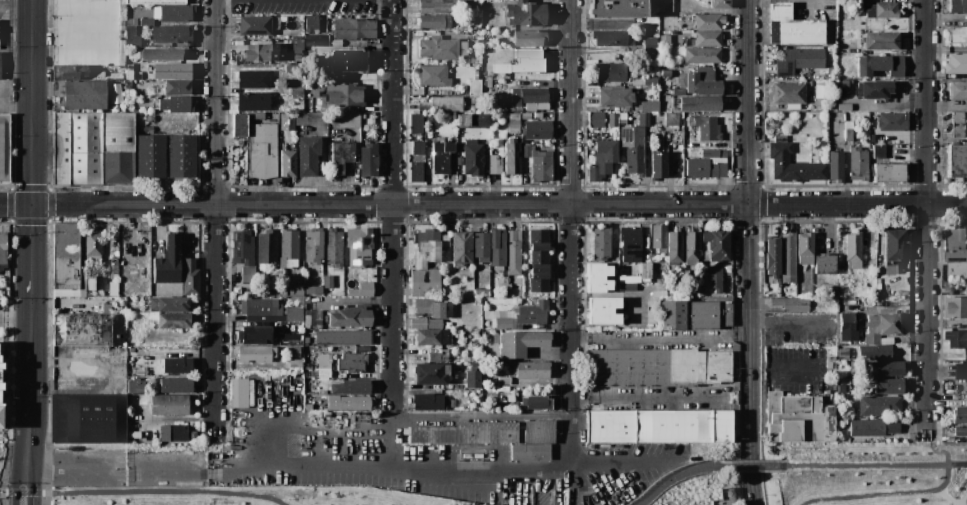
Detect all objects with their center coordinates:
building: (155, 2)
road: (17, 3)
building: (720, 4)
building: (666, 5)
building: (442, 6)
building: (957, 6)
building: (616, 8)
building: (883, 10)
building: (156, 13)
building: (175, 13)
building: (525, 13)
building: (121, 17)
building: (131, 21)
building: (708, 21)
building: (146, 22)
building: (434, 22)
building: (312, 24)
building: (255, 25)
building: (792, 26)
building: (354, 29)
building: (130, 30)
building: (172, 33)
building: (458, 33)
building: (957, 34)
building: (283, 35)
building: (464, 35)
building: (471, 35)
building: (478, 35)
building: (610, 37)
building: (707, 37)
building: (528, 38)
building: (323, 40)
building: (509, 40)
building: (665, 40)
building: (880, 40)
building: (132, 41)
building: (650, 44)
building: (294, 45)
building: (438, 48)
building: (463, 48)
building: (121, 52)
building: (262, 52)
building: (161, 54)
building: (702, 55)
building: (297, 58)
building: (349, 60)
building: (799, 60)
building: (527, 61)
building: (956, 63)
building: (880, 65)
building: (500, 68)
building: (170, 70)
building: (831, 70)
building: (129, 71)
building: (56, 72)
building: (73, 72)
building: (610, 72)
building: (97, 73)
building: (665, 73)
building: (116, 75)
building: (433, 75)
building: (477, 75)
building: (253, 79)
building: (702, 82)
building: (281, 83)
building: (843, 85)
building: (177, 87)
building: (479, 87)
building: (160, 89)
building: (873, 89)
building: (957, 90)
building: (505, 92)
building: (789, 92)
building: (83, 95)
building: (528, 95)
building: (344, 96)
building: (614, 97)
building: (253, 101)
building: (446, 103)
building: (700, 103)
building: (175, 104)
building: (424, 106)
building: (649, 106)
building: (531, 107)
building: (638, 107)
building: (519, 110)
building: (526, 115)
building: (255, 116)
building: (623, 116)
building: (514, 117)
building: (147, 118)
building: (168, 118)
building: (311, 118)
building: (431, 118)
building: (671, 118)
building: (958, 118)
building: (346, 119)
building: (596, 119)
building: (644, 119)
building: (472, 120)
building: (613, 120)
building: (287, 121)
building: (892, 121)
building: (416, 123)
building: (514, 124)
building: (239, 125)
building: (707, 128)
building: (146, 129)
building: (848, 130)
building: (514, 131)
building: (536, 131)
building: (958, 131)
road: (34, 134)
building: (443, 139)
building: (117, 147)
building: (418, 147)
building: (4, 148)
building: (60, 148)
building: (84, 148)
building: (632, 148)
building: (262, 150)
building: (526, 150)
building: (879, 151)
building: (710, 153)
building: (722, 153)
building: (150, 155)
building: (307, 155)
building: (181, 156)
building: (340, 156)
building: (442, 157)
building: (472, 157)
building: (512, 158)
building: (368, 160)
building: (602, 160)
building: (957, 162)
building: (287, 164)
building: (495, 164)
building: (792, 164)
building: (835, 164)
building: (858, 164)
building: (540, 165)
building: (657, 165)
building: (706, 167)
building: (416, 172)
building: (888, 173)
road: (392, 205)
road: (483, 205)
road: (570, 205)
road: (926, 216)
road: (216, 220)
road: (747, 221)
building: (429, 235)
building: (658, 236)
building: (601, 243)
building: (92, 244)
building: (630, 244)
building: (717, 244)
building: (313, 245)
building: (893, 245)
building: (266, 246)
building: (288, 246)
building: (358, 246)
building: (481, 246)
building: (957, 246)
building: (243, 247)
building: (334, 247)
building: (461, 247)
building: (674, 247)
building: (691, 247)
building: (497, 248)
building: (804, 248)
building: (2, 250)
building: (853, 251)
building: (513, 252)
building: (426, 254)
building: (195, 256)
building: (772, 257)
building: (788, 258)
building: (872, 260)
building: (168, 261)
building: (538, 261)
building: (67, 263)
building: (824, 264)
building: (957, 269)
building: (114, 270)
building: (891, 270)
building: (646, 272)
building: (248, 274)
building: (598, 277)
building: (629, 279)
building: (714, 279)
building: (878, 280)
building: (328, 281)
building: (190, 282)
building: (424, 282)
building: (966, 285)
building: (627, 287)
building: (879, 287)
building: (113, 288)
building: (296, 290)
building: (313, 290)
building: (361, 290)
building: (702, 291)
building: (841, 291)
building: (274, 292)
building: (282, 292)
building: (481, 292)
building: (880, 293)
building: (306, 299)
building: (477, 301)
building: (791, 303)
building: (168, 304)
building: (260, 307)
building: (431, 308)
building: (956, 308)
building: (603, 311)
building: (532, 313)
building: (294, 314)
building: (500, 314)
building: (696, 314)
building: (350, 317)
building: (313, 319)
building: (174, 320)
road: (790, 322)
building: (425, 323)
building: (505, 323)
building: (848, 324)
building: (881, 327)
building: (82, 329)
building: (256, 329)
road: (659, 335)
building: (445, 336)
building: (343, 337)
building: (427, 337)
building: (256, 338)
building: (291, 338)
building: (957, 339)
road: (33, 341)
building: (305, 342)
building: (519, 342)
building: (297, 343)
building: (293, 352)
building: (444, 352)
building: (876, 352)
building: (256, 353)
building: (486, 353)
building: (843, 354)
building: (459, 358)
building: (352, 362)
building: (831, 362)
building: (295, 363)
building: (176, 365)
building: (324, 365)
building: (138, 366)
building: (657, 367)
building: (885, 368)
building: (531, 369)
road: (786, 369)
building: (961, 372)
building: (240, 373)
building: (431, 373)
building: (309, 374)
building: (0, 377)
building: (473, 379)
building: (504, 380)
building: (176, 385)
building: (310, 385)
building: (888, 386)
building: (136, 387)
building: (351, 387)
building: (458, 387)
building: (841, 388)
building: (238, 392)
building: (511, 398)
building: (492, 401)
building: (427, 402)
building: (536, 402)
building: (349, 403)
building: (452, 403)
building: (169, 404)
building: (879, 405)
building: (308, 407)
building: (959, 415)
building: (0, 416)
building: (794, 417)
building: (87, 418)
road: (308, 424)
building: (661, 425)
building: (873, 426)
building: (173, 432)
building: (539, 432)
building: (960, 432)
building: (467, 433)
road: (389, 439)
road: (569, 440)
road: (30, 441)
road: (938, 449)
building: (530, 451)
building: (467, 455)
building: (478, 455)
park: (1, 458)
road: (956, 464)
road: (866, 465)
road: (752, 466)
road: (101, 467)
road: (429, 472)
road: (751, 474)
park: (867, 474)
park: (686, 476)
road: (674, 477)
road: (28, 486)
road: (143, 492)
road: (883, 494)
park: (241, 496)
building: (726, 496)
road: (946, 496)
road: (962, 497)

